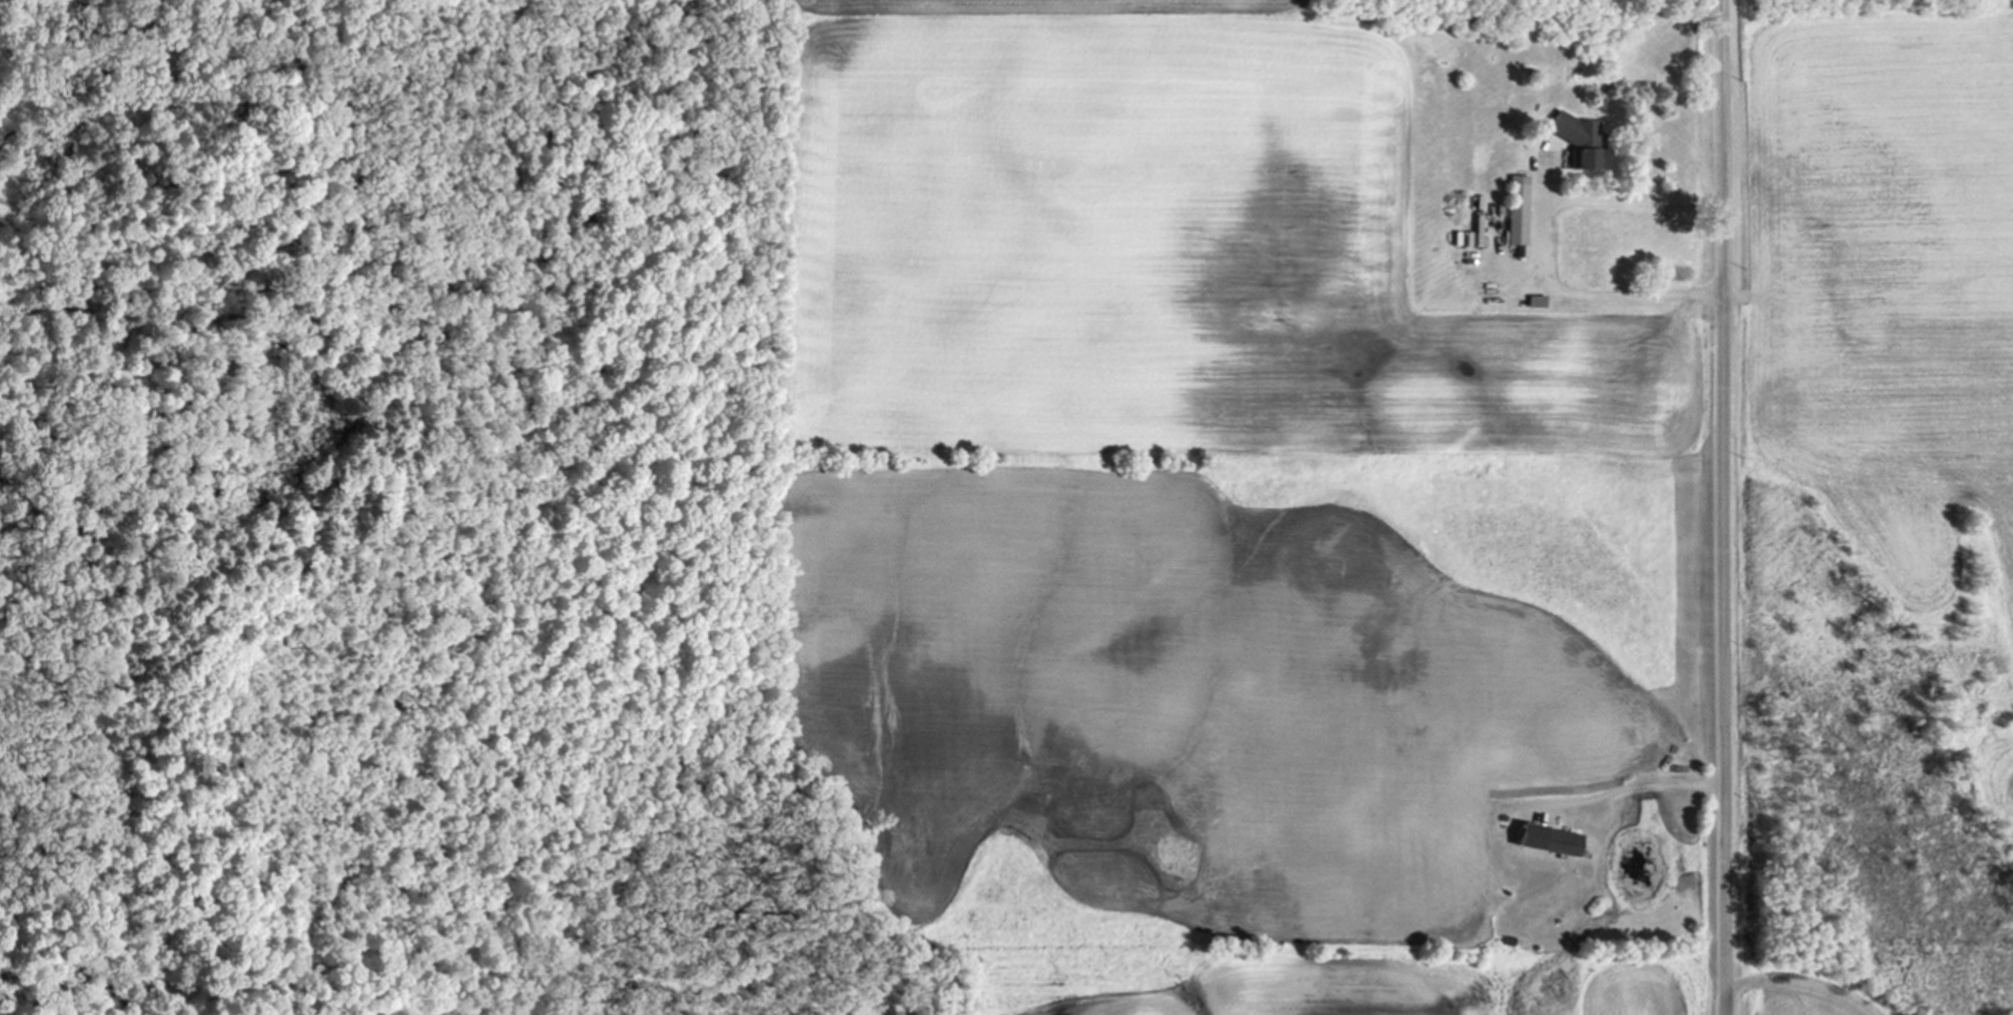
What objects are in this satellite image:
building: (1583, 138)
building: (1520, 210)
building: (1482, 230)
road: (1549, 244)
road: (1725, 507)
road: (1632, 787)
building: (1556, 841)

